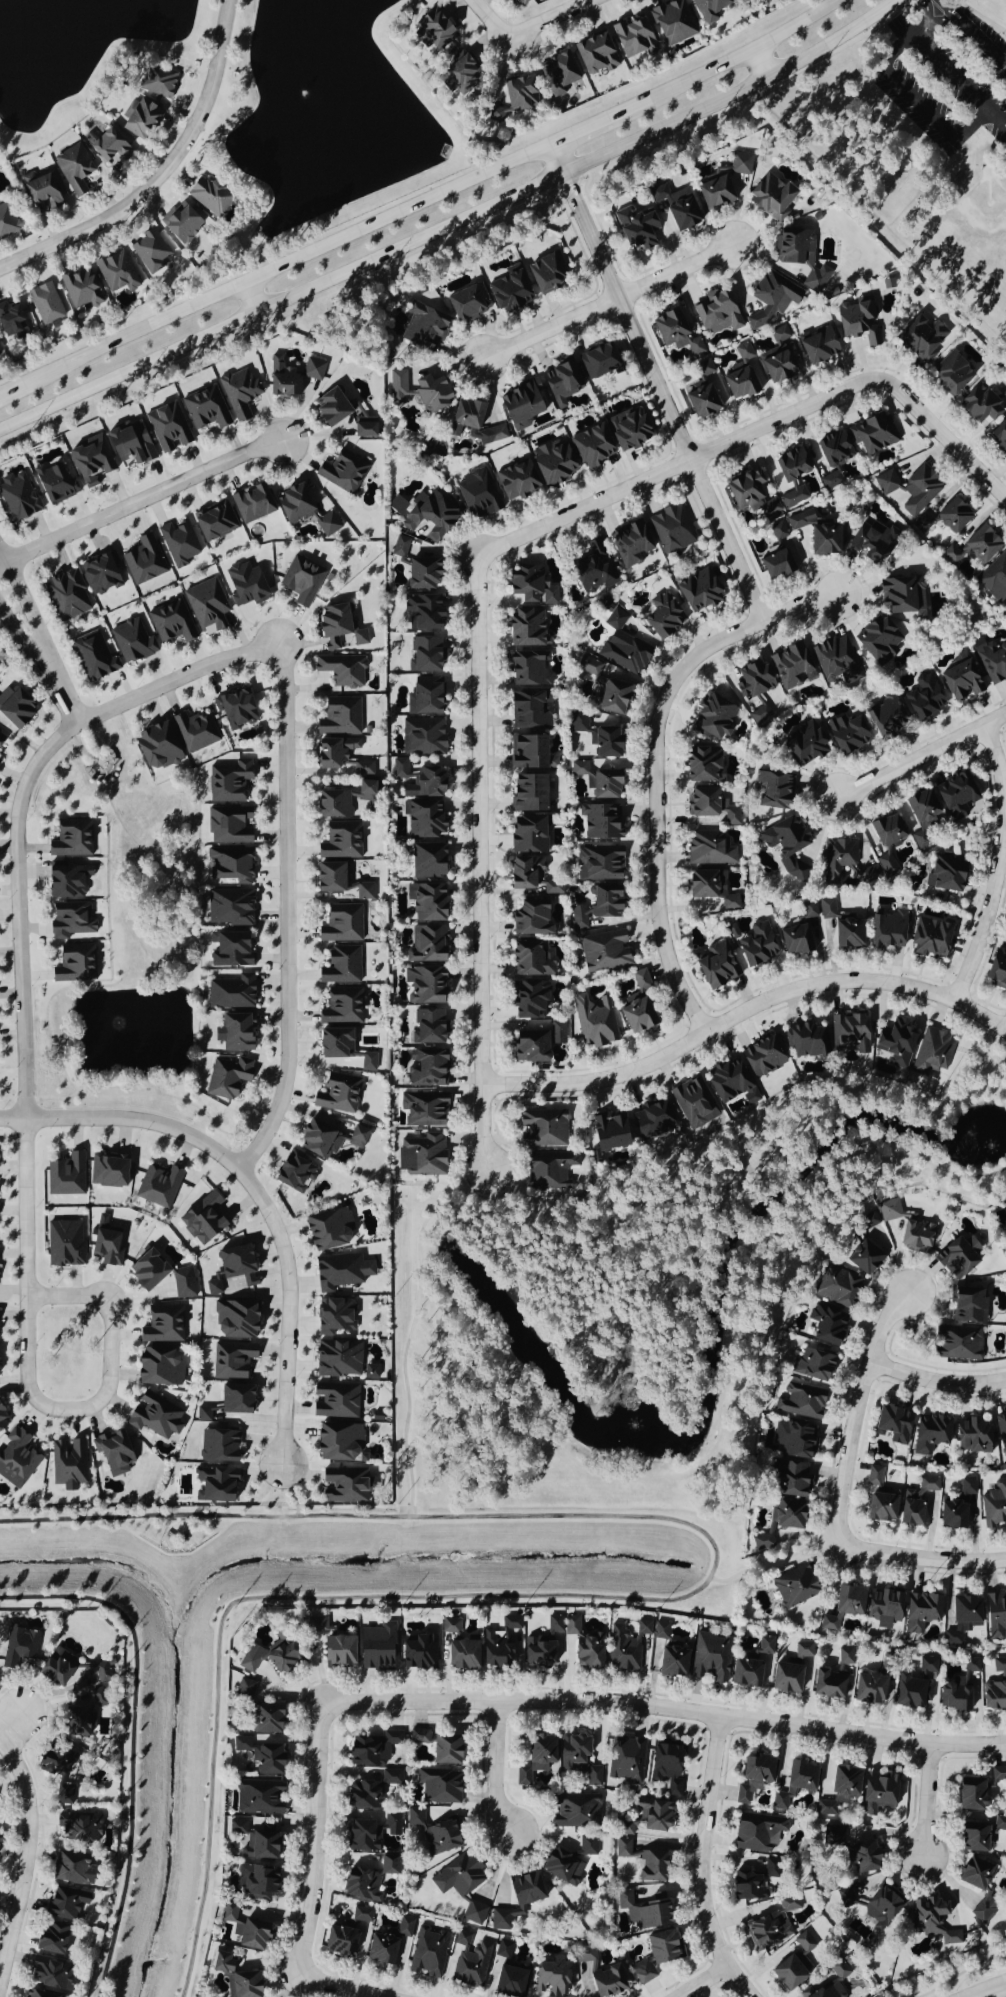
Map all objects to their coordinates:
building: (520, 2)
road: (948, 7)
building: (708, 9)
road: (926, 10)
road: (943, 17)
building: (672, 22)
road: (923, 26)
building: (432, 29)
road: (527, 32)
building: (633, 37)
road: (981, 40)
building: (595, 53)
road: (730, 60)
road: (762, 61)
road: (953, 69)
building: (558, 73)
building: (461, 75)
building: (157, 81)
fountain: (302, 91)
building: (516, 93)
road: (920, 103)
road: (998, 113)
building: (140, 119)
road: (586, 129)
building: (109, 146)
building: (73, 168)
road: (162, 173)
building: (722, 182)
building: (41, 191)
building: (208, 197)
building: (772, 197)
building: (675, 209)
building: (6, 221)
road: (451, 221)
building: (181, 223)
building: (638, 228)
building: (150, 251)
park: (971, 251)
building: (800, 256)
road: (283, 266)
building: (115, 272)
building: (544, 273)
building: (508, 291)
road: (252, 296)
building: (772, 298)
road: (606, 300)
building: (468, 302)
building: (44, 303)
building: (717, 312)
building: (10, 320)
building: (857, 321)
building: (419, 327)
building: (674, 332)
building: (922, 340)
building: (817, 346)
building: (744, 352)
building: (777, 359)
building: (599, 360)
building: (951, 374)
building: (292, 376)
building: (561, 382)
road: (654, 385)
building: (399, 389)
road: (7, 391)
building: (239, 392)
building: (431, 393)
building: (701, 401)
building: (521, 404)
building: (982, 405)
building: (329, 407)
building: (205, 409)
building: (472, 423)
building: (364, 426)
building: (167, 427)
building: (628, 429)
building: (873, 434)
building: (999, 435)
road: (944, 437)
building: (129, 444)
building: (592, 446)
building: (833, 448)
building: (89, 461)
building: (552, 462)
road: (680, 463)
building: (342, 471)
building: (826, 473)
building: (789, 477)
building: (516, 481)
building: (54, 484)
building: (911, 488)
building: (750, 493)
building: (477, 495)
building: (17, 497)
road: (141, 502)
building: (251, 503)
building: (294, 503)
building: (424, 514)
building: (953, 515)
building: (213, 521)
building: (327, 524)
building: (672, 528)
building: (778, 531)
building: (816, 534)
building: (869, 541)
building: (178, 543)
building: (630, 543)
building: (400, 547)
building: (972, 549)
building: (143, 560)
building: (775, 565)
building: (592, 571)
building: (98, 574)
building: (422, 574)
building: (995, 579)
building: (301, 580)
building: (245, 585)
building: (530, 585)
building: (698, 592)
building: (66, 595)
building: (900, 596)
building: (207, 606)
road: (805, 607)
building: (424, 612)
building: (663, 617)
building: (170, 622)
building: (338, 627)
building: (525, 628)
road: (39, 635)
building: (878, 640)
building: (131, 641)
building: (424, 655)
building: (627, 655)
building: (92, 656)
building: (836, 660)
building: (992, 661)
road: (39, 665)
building: (791, 667)
building: (529, 669)
building: (590, 669)
building: (342, 671)
building: (752, 679)
building: (960, 681)
building: (424, 697)
building: (611, 697)
building: (924, 699)
building: (14, 709)
building: (235, 709)
building: (530, 710)
building: (759, 715)
building: (339, 717)
building: (886, 718)
building: (609, 720)
building: (713, 720)
building: (194, 732)
building: (846, 734)
building: (422, 737)
building: (1, 739)
building: (605, 743)
building: (804, 744)
building: (156, 746)
building: (333, 752)
building: (526, 753)
road: (917, 754)
building: (363, 768)
building: (399, 769)
building: (596, 781)
building: (228, 782)
building: (425, 785)
building: (770, 791)
building: (955, 796)
building: (342, 800)
road: (656, 802)
building: (702, 803)
building: (919, 814)
building: (732, 817)
building: (423, 819)
building: (602, 822)
building: (228, 825)
building: (886, 830)
building: (527, 835)
building: (71, 839)
building: (341, 841)
building: (786, 846)
building: (709, 849)
building: (881, 858)
building: (427, 861)
building: (840, 861)
road: (995, 862)
road: (479, 863)
building: (598, 863)
building: (231, 865)
building: (946, 874)
building: (328, 878)
building: (528, 878)
building: (67, 883)
building: (709, 888)
building: (364, 891)
building: (426, 902)
building: (598, 906)
building: (229, 908)
building: (807, 912)
road: (286, 913)
building: (532, 918)
building: (70, 920)
building: (341, 924)
building: (842, 926)
building: (887, 930)
building: (930, 938)
building: (795, 941)
building: (426, 945)
building: (757, 946)
park: (131, 947)
building: (230, 950)
building: (604, 952)
building: (531, 960)
building: (74, 964)
building: (341, 966)
building: (717, 966)
building: (996, 969)
building: (424, 986)
building: (232, 993)
building: (529, 1001)
building: (637, 1006)
building: (342, 1007)
road: (743, 1011)
building: (595, 1021)
building: (426, 1028)
building: (851, 1032)
building: (235, 1033)
building: (805, 1041)
building: (895, 1043)
building: (334, 1044)
building: (533, 1044)
building: (932, 1052)
building: (762, 1058)
building: (368, 1063)
building: (427, 1069)
road: (23, 1071)
building: (226, 1077)
building: (730, 1083)
building: (337, 1094)
building: (693, 1102)
building: (423, 1110)
building: (652, 1119)
building: (542, 1129)
building: (609, 1132)
building: (328, 1139)
building: (421, 1156)
building: (106, 1171)
building: (550, 1171)
building: (294, 1173)
building: (65, 1176)
building: (158, 1187)
road: (255, 1190)
building: (1005, 1207)
building: (202, 1219)
building: (327, 1230)
building: (915, 1237)
building: (64, 1244)
building: (106, 1247)
building: (864, 1258)
building: (957, 1258)
building: (236, 1265)
building: (146, 1271)
building: (340, 1272)
building: (183, 1284)
building: (214, 1286)
building: (838, 1288)
building: (968, 1307)
building: (334, 1317)
building: (235, 1321)
building: (163, 1325)
building: (827, 1326)
road: (410, 1328)
building: (957, 1345)
building: (337, 1359)
building: (232, 1361)
building: (812, 1366)
building: (158, 1368)
building: (370, 1372)
road: (935, 1381)
building: (235, 1400)
building: (335, 1401)
building: (800, 1403)
road: (856, 1413)
building: (203, 1414)
building: (155, 1416)
building: (2, 1423)
building: (892, 1425)
building: (1002, 1433)
building: (929, 1434)
building: (973, 1437)
building: (794, 1440)
building: (339, 1443)
building: (218, 1447)
building: (113, 1452)
building: (17, 1459)
building: (68, 1465)
building: (874, 1475)
building: (788, 1483)
building: (929, 1485)
building: (215, 1486)
building: (343, 1486)
building: (968, 1486)
building: (994, 1506)
building: (880, 1507)
building: (911, 1512)
building: (787, 1515)
building: (951, 1515)
building: (762, 1542)
road: (921, 1558)
road: (772, 1563)
building: (795, 1586)
road: (649, 1601)
building: (842, 1606)
building: (883, 1607)
building: (920, 1611)
building: (996, 1616)
building: (962, 1618)
building: (571, 1625)
building: (450, 1626)
building: (660, 1631)
building: (498, 1643)
building: (18, 1646)
building: (627, 1646)
building: (764, 1647)
building: (376, 1648)
building: (803, 1650)
building: (418, 1651)
building: (461, 1655)
building: (845, 1656)
building: (268, 1657)
building: (710, 1658)
building: (672, 1662)
building: (56, 1666)
building: (999, 1667)
building: (926, 1669)
building: (745, 1673)
building: (786, 1678)
building: (828, 1684)
building: (868, 1689)
building: (958, 1689)
building: (244, 1690)
building: (907, 1692)
building: (993, 1695)
road: (666, 1710)
building: (266, 1718)
road: (10, 1721)
building: (75, 1722)
road: (131, 1743)
building: (437, 1746)
building: (370, 1749)
building: (260, 1756)
building: (536, 1758)
building: (625, 1759)
building: (578, 1760)
building: (50, 1762)
building: (666, 1766)
road: (496, 1768)
building: (753, 1777)
building: (997, 1779)
building: (795, 1783)
building: (439, 1786)
building: (371, 1790)
building: (839, 1790)
building: (878, 1792)
building: (61, 1793)
building: (970, 1794)
building: (259, 1797)
road: (926, 1800)
building: (577, 1811)
building: (653, 1814)
building: (414, 1818)
building: (1000, 1824)
building: (78, 1827)
building: (625, 1830)
building: (371, 1833)
building: (757, 1833)
building: (441, 1837)
building: (972, 1837)
building: (833, 1838)
road: (318, 1839)
building: (254, 1841)
building: (587, 1846)
building: (623, 1848)
building: (865, 1857)
road: (35, 1861)
road: (705, 1861)
building: (387, 1865)
building: (561, 1867)
building: (651, 1867)
building: (769, 1867)
building: (72, 1870)
building: (974, 1873)
building: (457, 1876)
building: (256, 1880)
building: (360, 1885)
building: (747, 1886)
building: (845, 1897)
building: (517, 1901)
building: (65, 1902)
building: (789, 1904)
building: (880, 1908)
building: (983, 1910)
building: (641, 1911)
building: (473, 1913)
building: (360, 1915)
building: (932, 1921)
building: (405, 1927)
building: (246, 1929)
building: (768, 1930)
building: (51, 1938)
building: (338, 1940)
building: (463, 1941)
building: (804, 1942)
building: (380, 1949)
building: (503, 1950)
building: (428, 1954)
building: (585, 1955)
building: (655, 1955)
building: (220, 1963)
building: (471, 1967)
building: (787, 1973)
building: (49, 1976)
building: (551, 1978)
building: (834, 1981)
building: (509, 1982)
building: (606, 1982)
road: (701, 1982)
road: (344, 1984)
building: (242, 1985)
road: (990, 1991)
building: (38, 1994)

